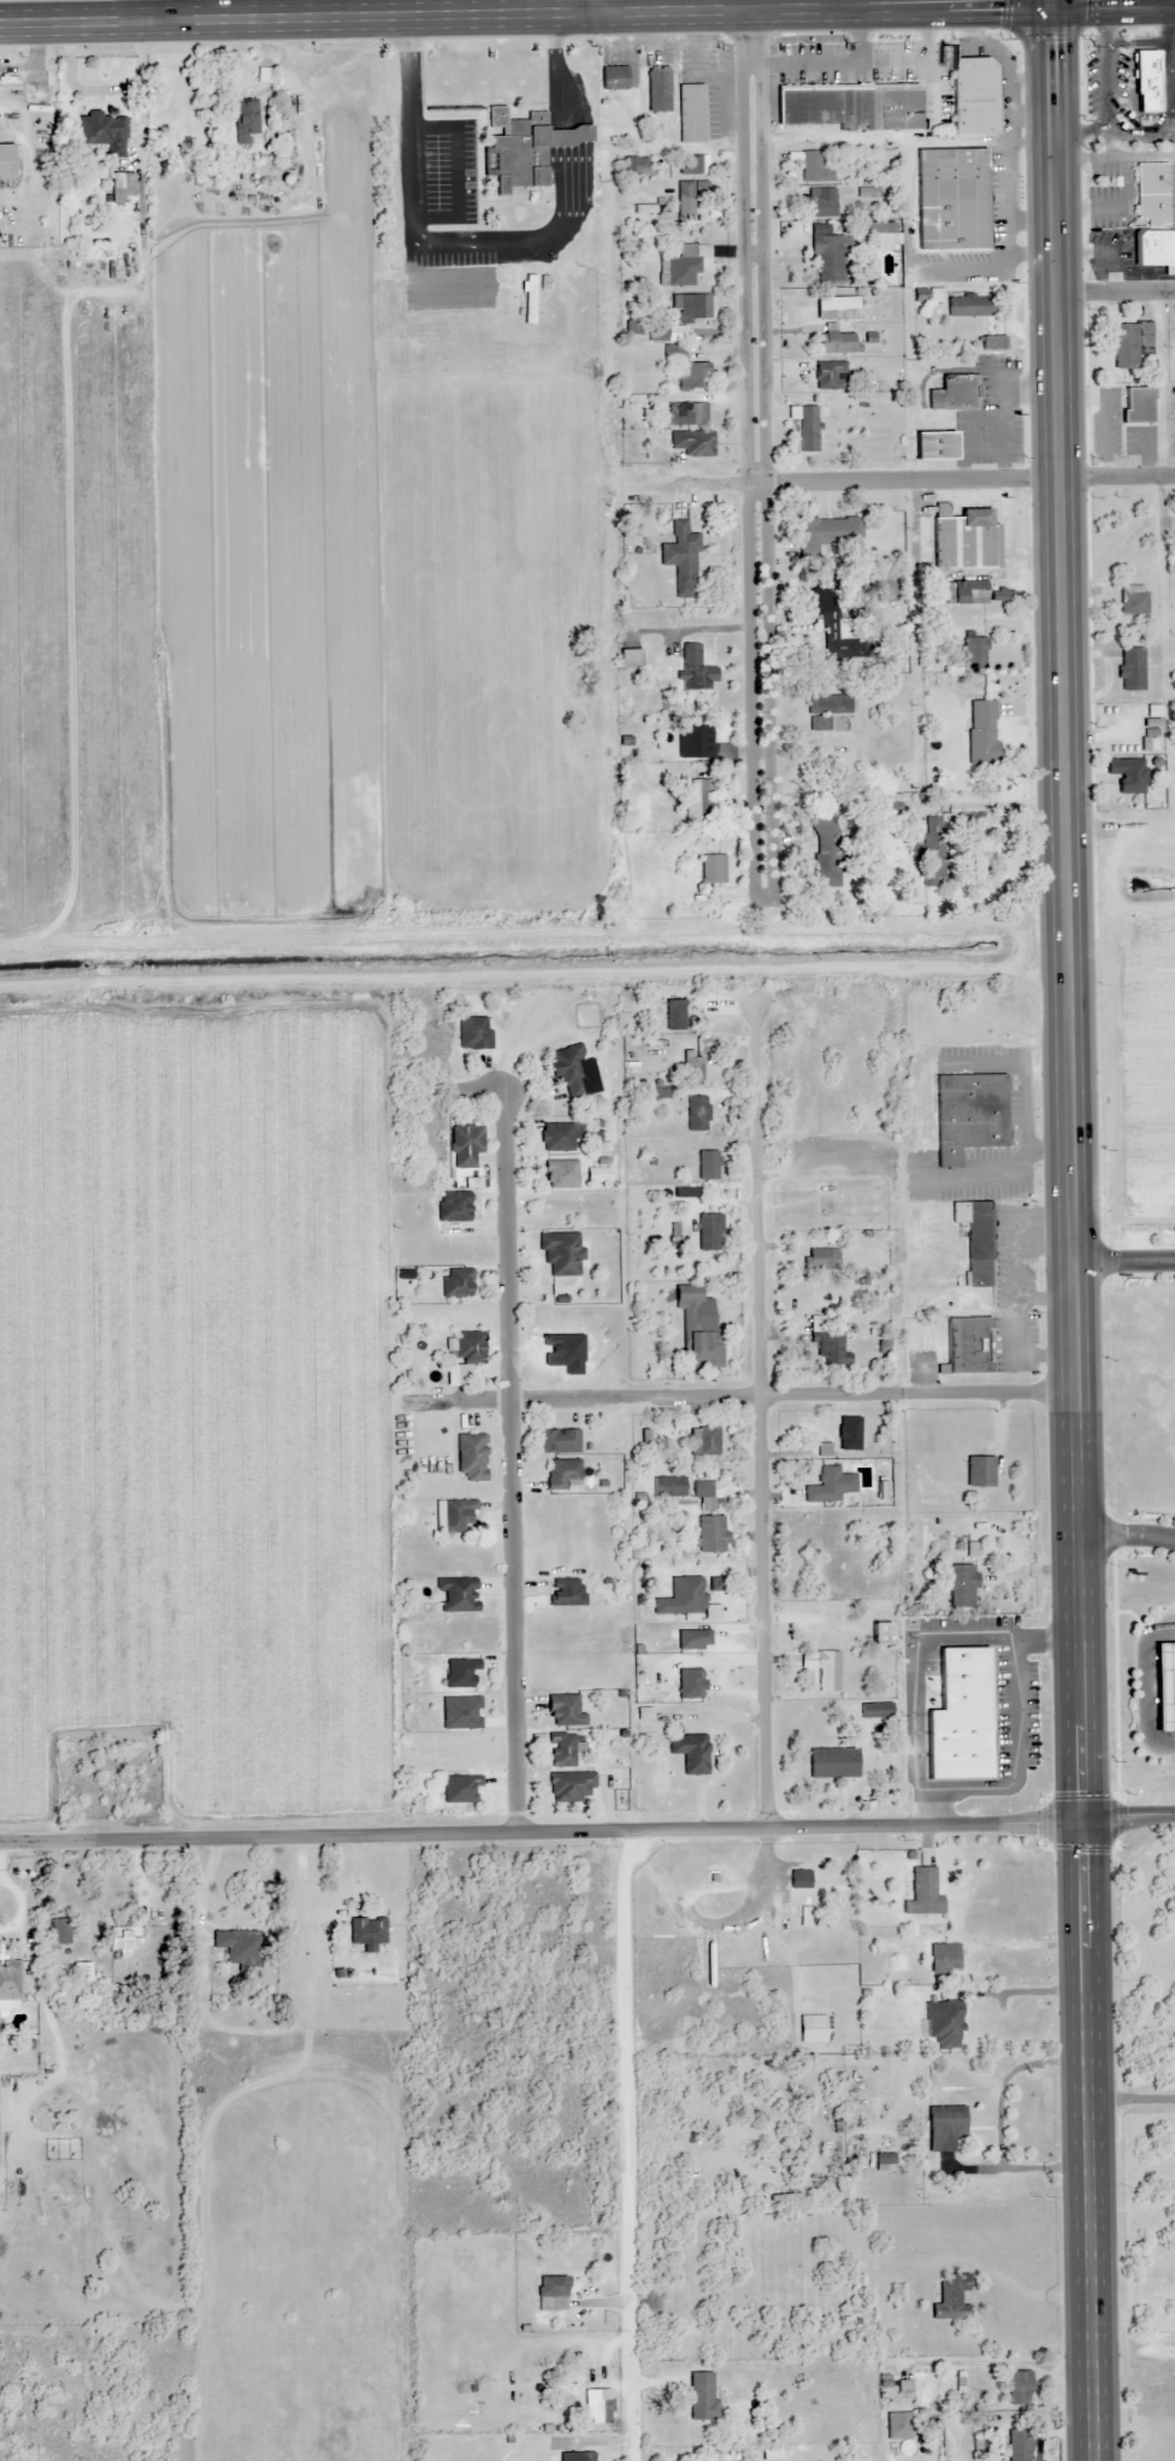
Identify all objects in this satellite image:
road: (1055, 2)
road: (849, 5)
traffic signals: (1056, 6)
road: (602, 7)
road: (150, 10)
road: (587, 14)
building: (613, 77)
building: (1144, 82)
building: (657, 90)
building: (973, 95)
building: (849, 105)
building: (690, 113)
building: (246, 116)
building: (105, 131)
building: (524, 148)
building: (8, 160)
building: (636, 166)
building: (813, 166)
building: (124, 185)
building: (1152, 193)
building: (689, 197)
building: (950, 199)
building: (822, 202)
building: (1155, 247)
building: (828, 258)
building: (681, 266)
road: (1118, 290)
building: (691, 307)
building: (836, 307)
building: (969, 307)
road: (914, 314)
building: (837, 342)
building: (992, 343)
building: (1132, 346)
building: (687, 368)
building: (829, 374)
building: (955, 393)
building: (1138, 406)
building: (687, 414)
building: (808, 430)
building: (693, 443)
road: (757, 456)
road: (1065, 465)
road: (907, 485)
building: (832, 532)
building: (963, 538)
building: (681, 555)
building: (966, 592)
building: (1133, 598)
building: (837, 635)
building: (974, 654)
building: (631, 657)
building: (1132, 668)
building: (695, 669)
building: (826, 709)
building: (981, 731)
building: (695, 742)
building: (1127, 774)
building: (697, 801)
building: (826, 850)
building: (934, 851)
building: (712, 869)
building: (674, 1015)
building: (474, 1033)
building: (693, 1073)
building: (569, 1074)
building: (696, 1114)
building: (968, 1115)
building: (561, 1137)
building: (466, 1145)
building: (707, 1165)
building: (560, 1175)
building: (454, 1208)
building: (1168, 1224)
building: (709, 1233)
building: (975, 1240)
building: (561, 1252)
building: (822, 1259)
road: (1124, 1263)
building: (456, 1283)
building: (701, 1333)
building: (828, 1342)
building: (966, 1345)
building: (468, 1347)
road: (1076, 1373)
road: (795, 1397)
road: (761, 1418)
building: (837, 1433)
building: (559, 1441)
building: (708, 1441)
building: (471, 1457)
road: (515, 1462)
building: (980, 1471)
building: (561, 1474)
building: (829, 1486)
building: (668, 1487)
building: (702, 1489)
building: (456, 1516)
building: (712, 1534)
road: (1127, 1535)
building: (962, 1587)
building: (566, 1592)
building: (457, 1594)
building: (692, 1604)
building: (880, 1635)
building: (693, 1640)
building: (966, 1642)
building: (823, 1669)
building: (460, 1674)
road: (1116, 1676)
building: (1165, 1687)
gas station: (1165, 1687)
road: (1145, 1688)
building: (963, 1707)
building: (563, 1711)
building: (875, 1711)
building: (561, 1751)
building: (690, 1752)
building: (833, 1763)
building: (110, 1775)
building: (571, 1787)
building: (460, 1788)
road: (1128, 1816)
road: (1121, 1817)
road: (542, 1833)
road: (1121, 1839)
building: (799, 1893)
building: (923, 1893)
road: (719, 1922)
building: (58, 1928)
building: (368, 1932)
building: (129, 1940)
building: (240, 1947)
building: (944, 1958)
building: (10, 1984)
building: (943, 2024)
building: (811, 2029)
building: (944, 2126)
road: (1090, 2141)
road: (626, 2146)
road: (521, 2147)
building: (554, 2286)
building: (951, 2297)
building: (1018, 2386)
building: (702, 2396)
building: (600, 2403)
building: (902, 2432)
building: (1018, 2444)
building: (585, 2456)

